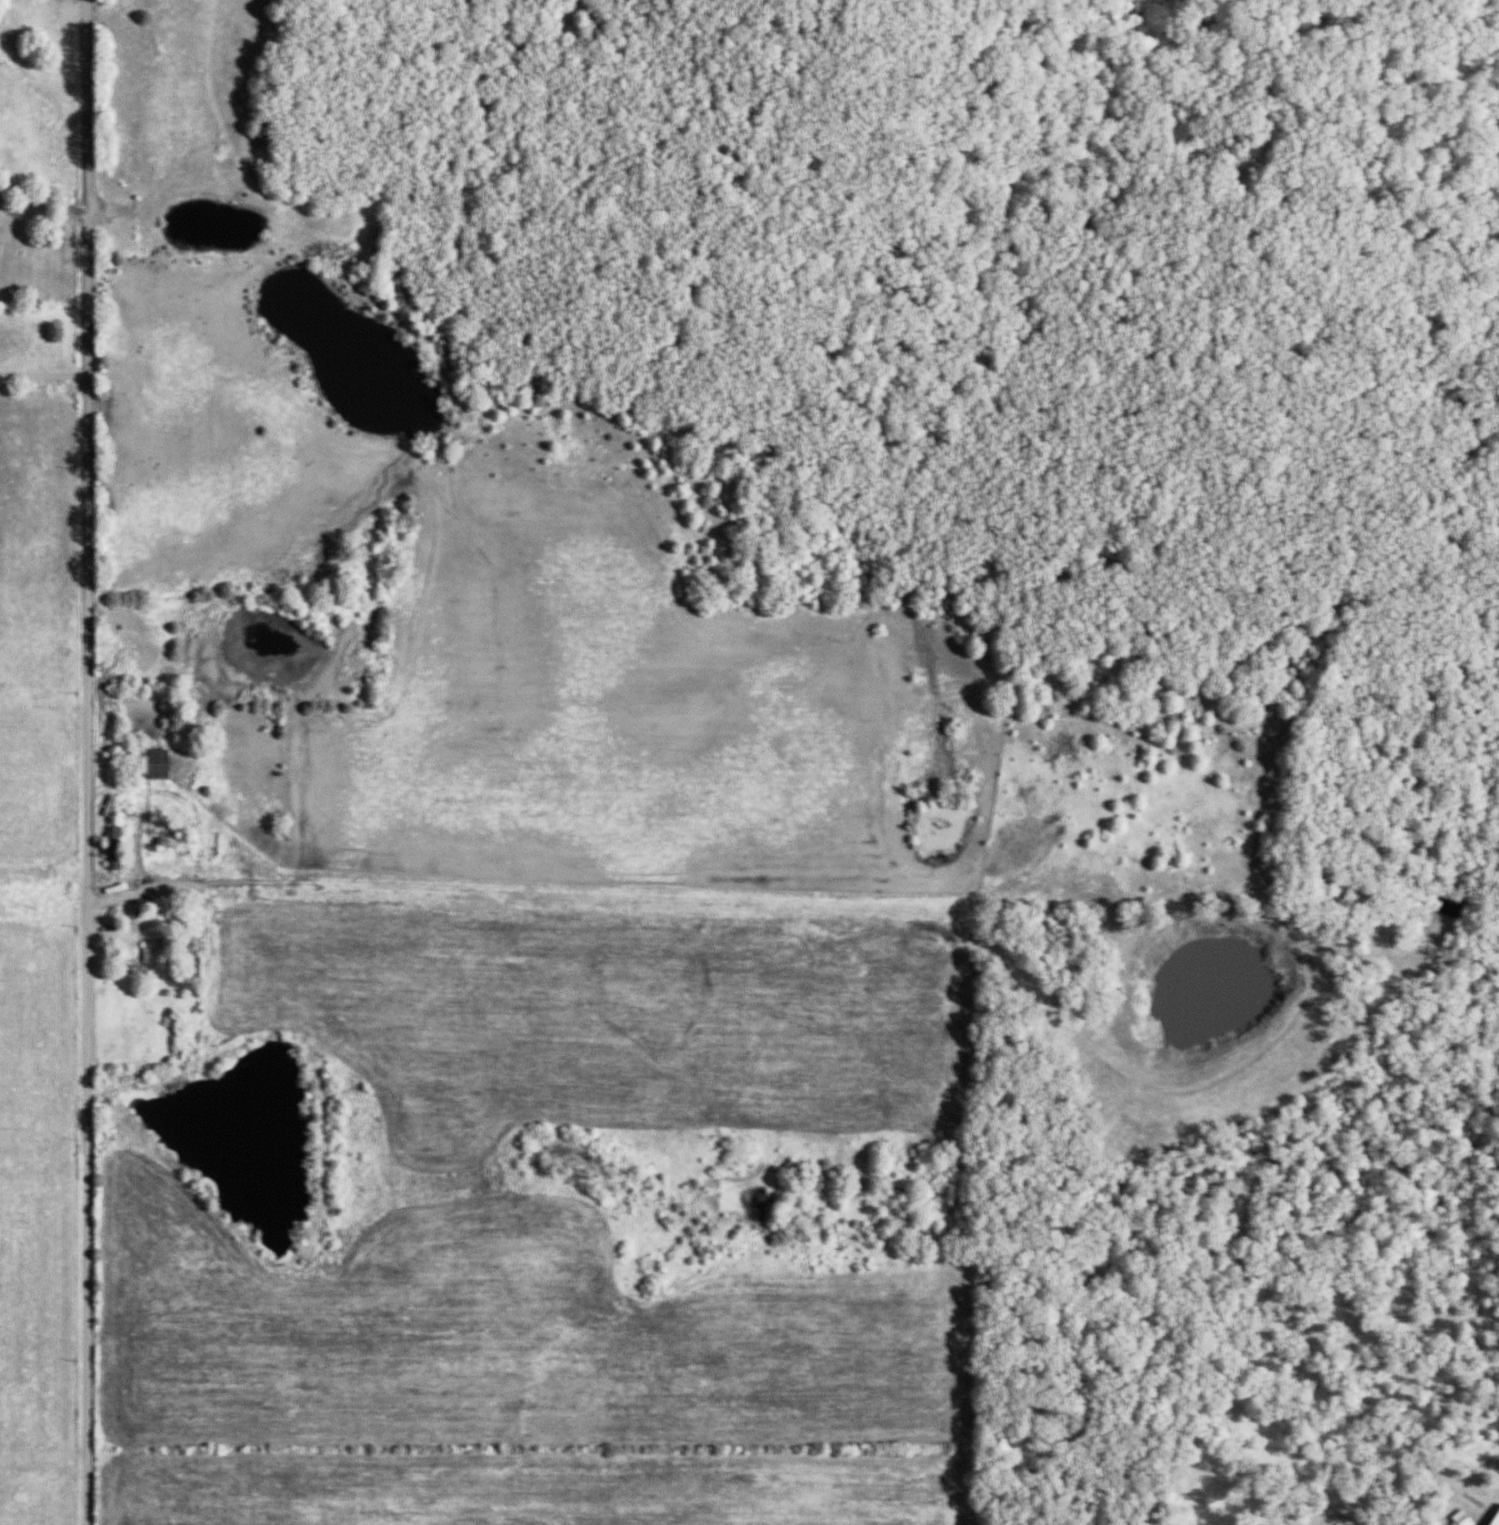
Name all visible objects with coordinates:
building: (262, 136)
road: (44, 375)
road: (88, 762)
building: (144, 765)
building: (109, 848)
road: (142, 889)
building: (150, 955)

